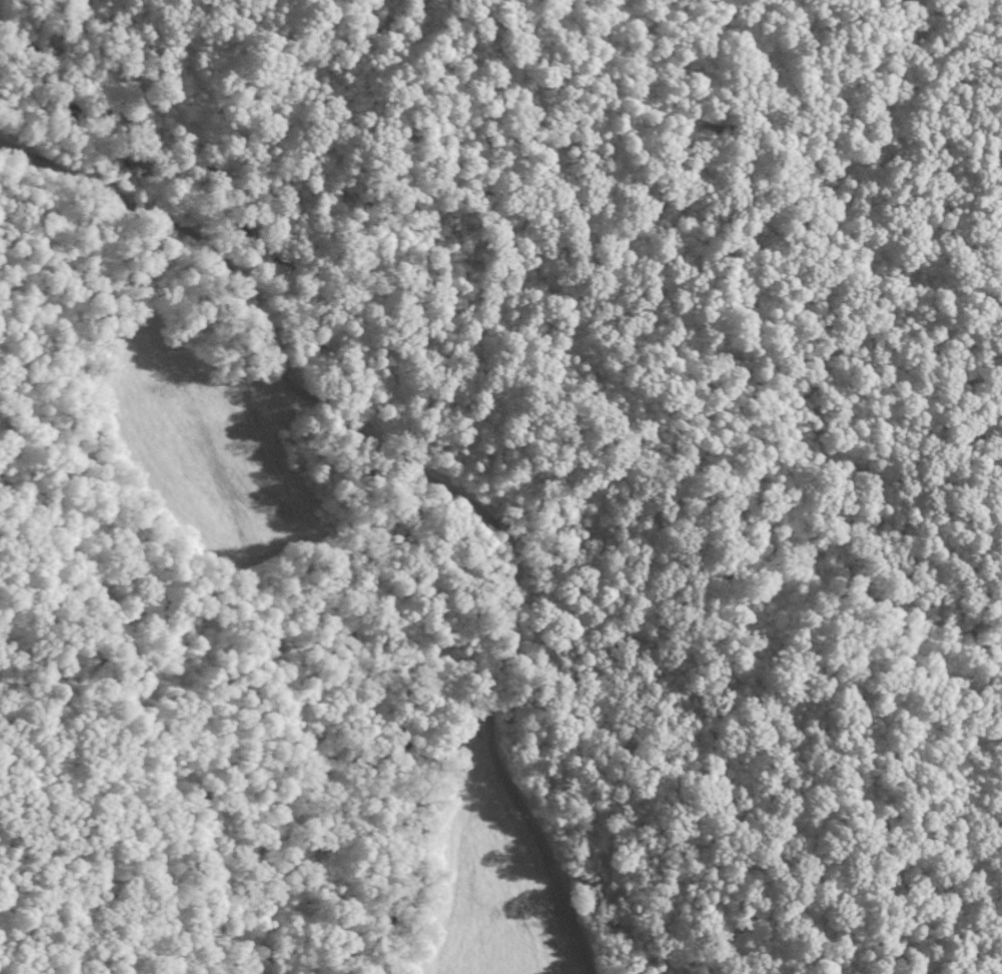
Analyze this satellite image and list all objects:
road: (427, 474)

